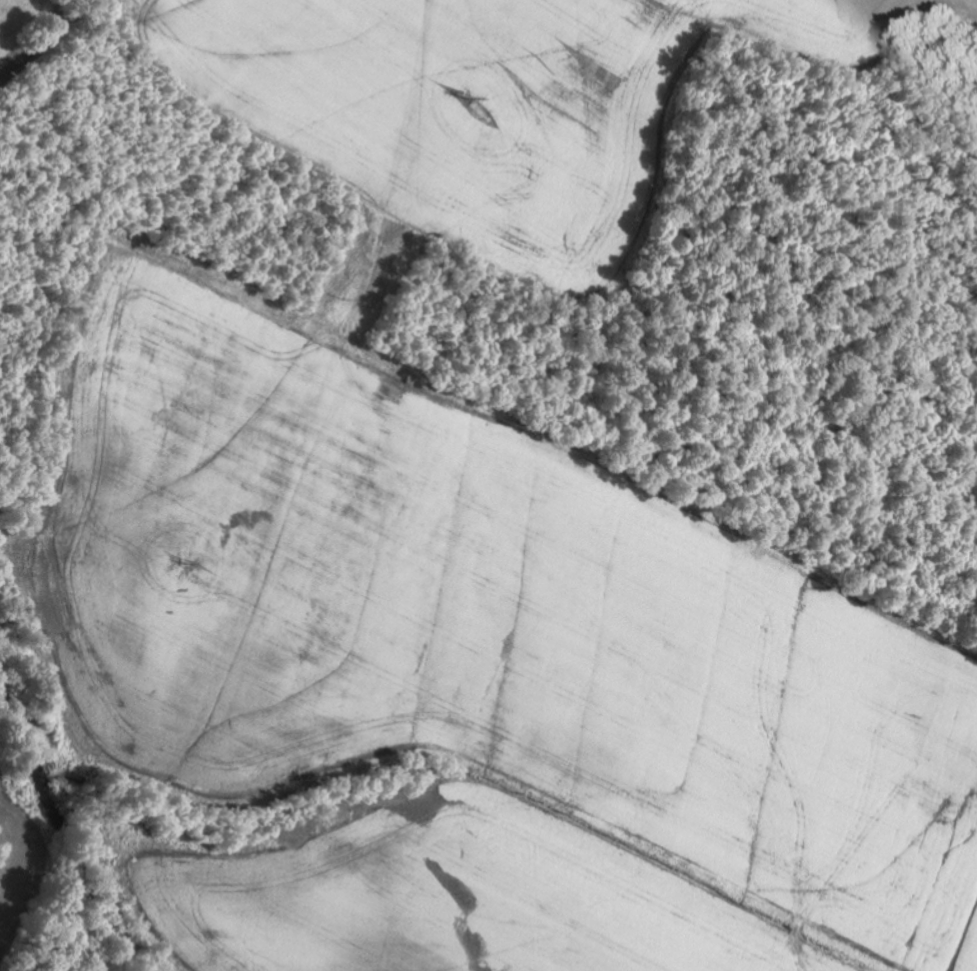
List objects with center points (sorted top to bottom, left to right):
road: (42, 41)

